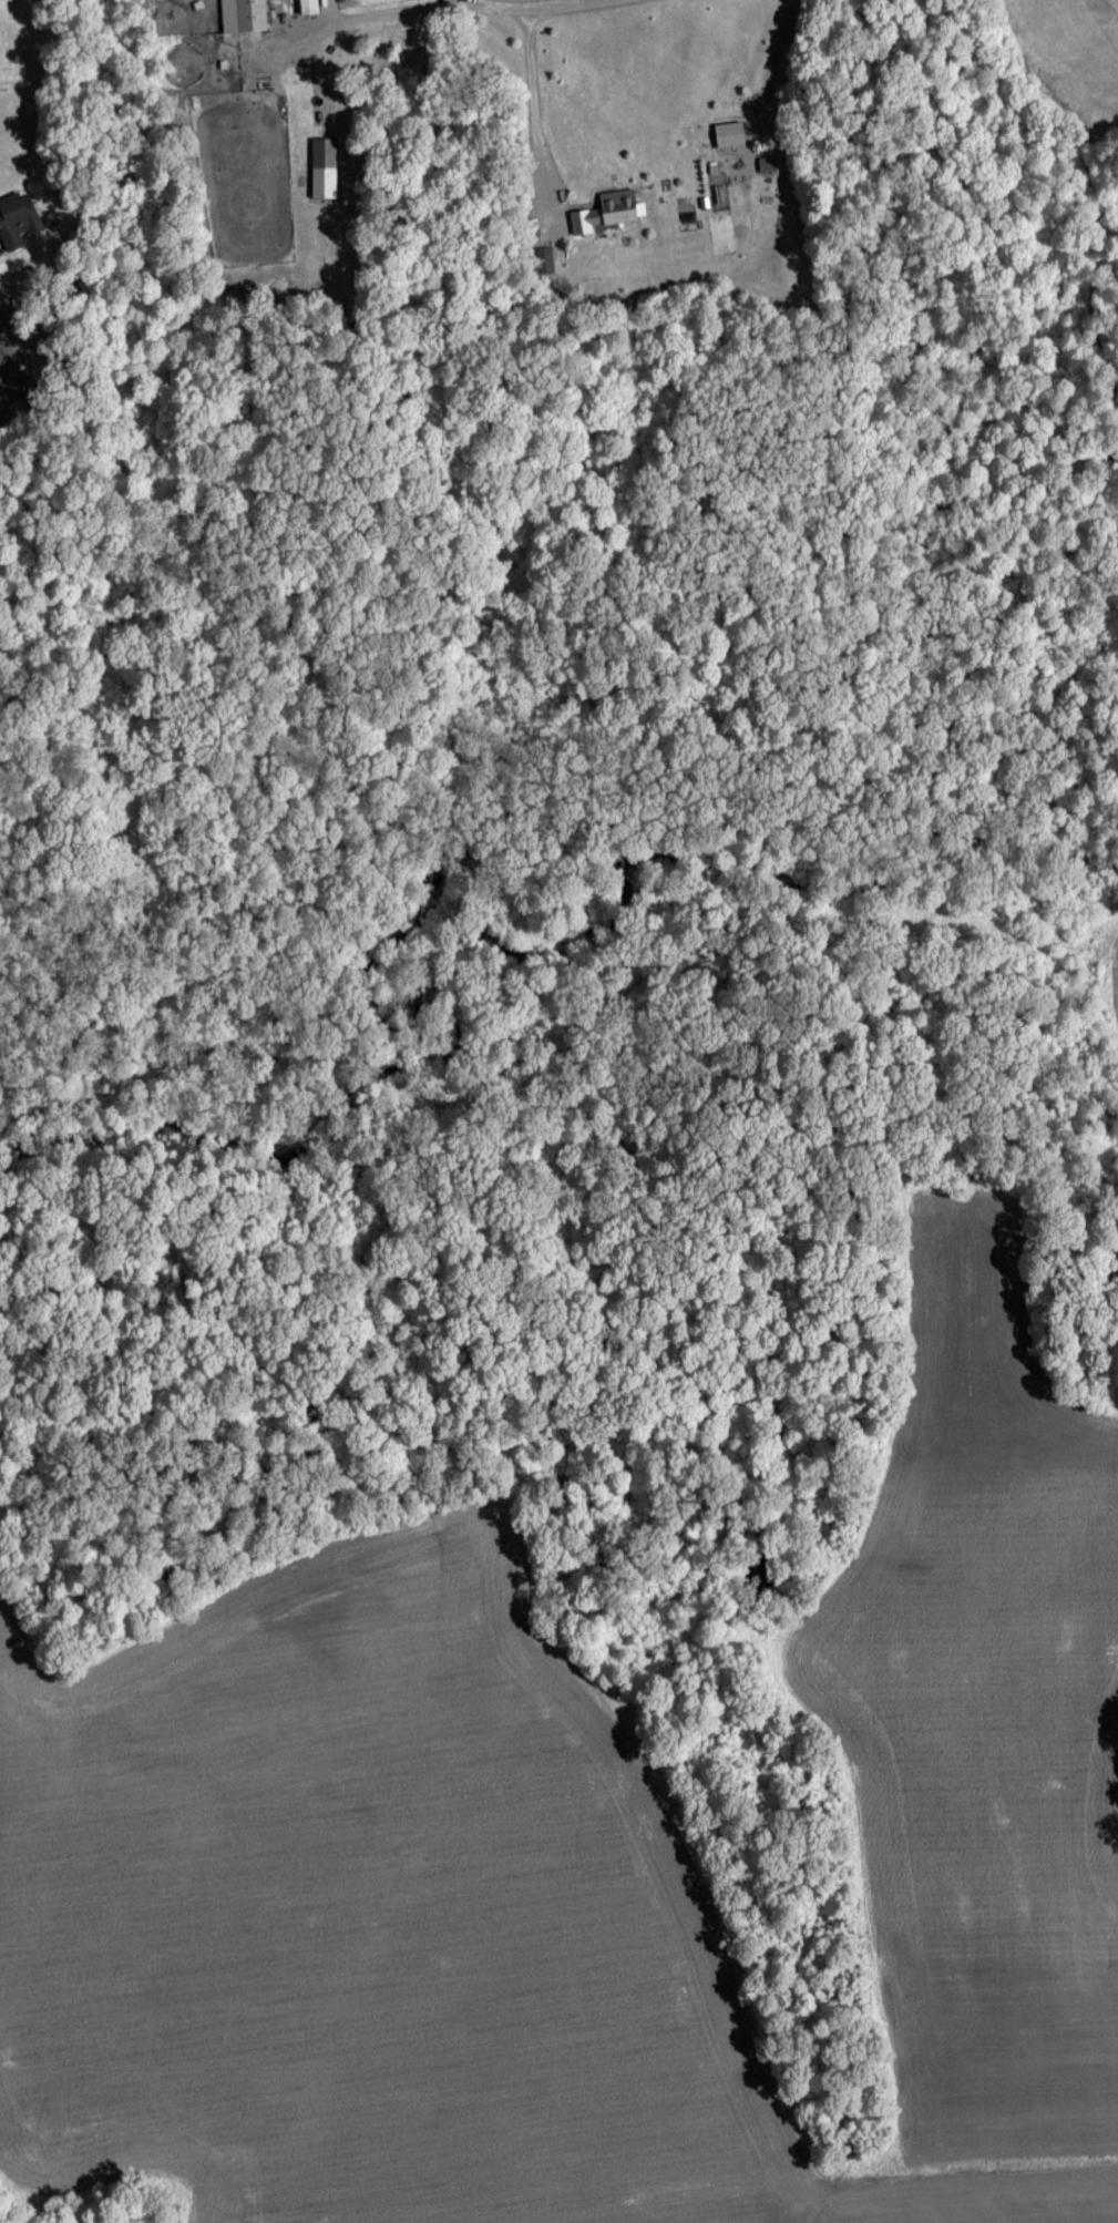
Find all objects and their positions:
road: (437, 0)
building: (308, 6)
building: (243, 14)
road: (767, 82)
road: (536, 115)
building: (728, 132)
building: (766, 162)
building: (324, 166)
building: (607, 209)
building: (17, 218)
building: (544, 258)

